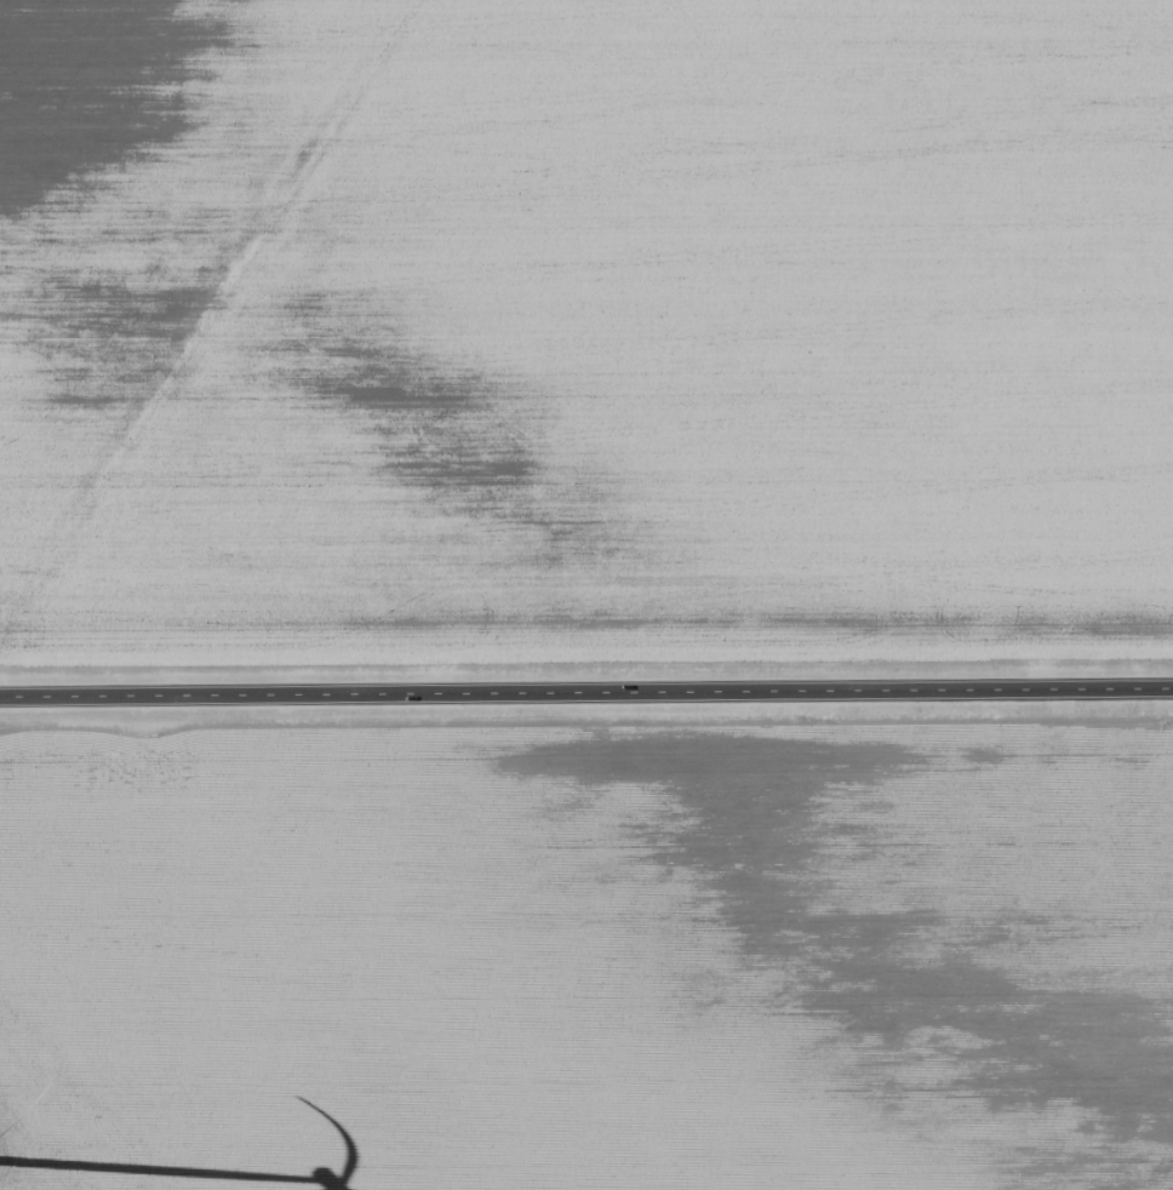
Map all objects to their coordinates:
road: (586, 690)

